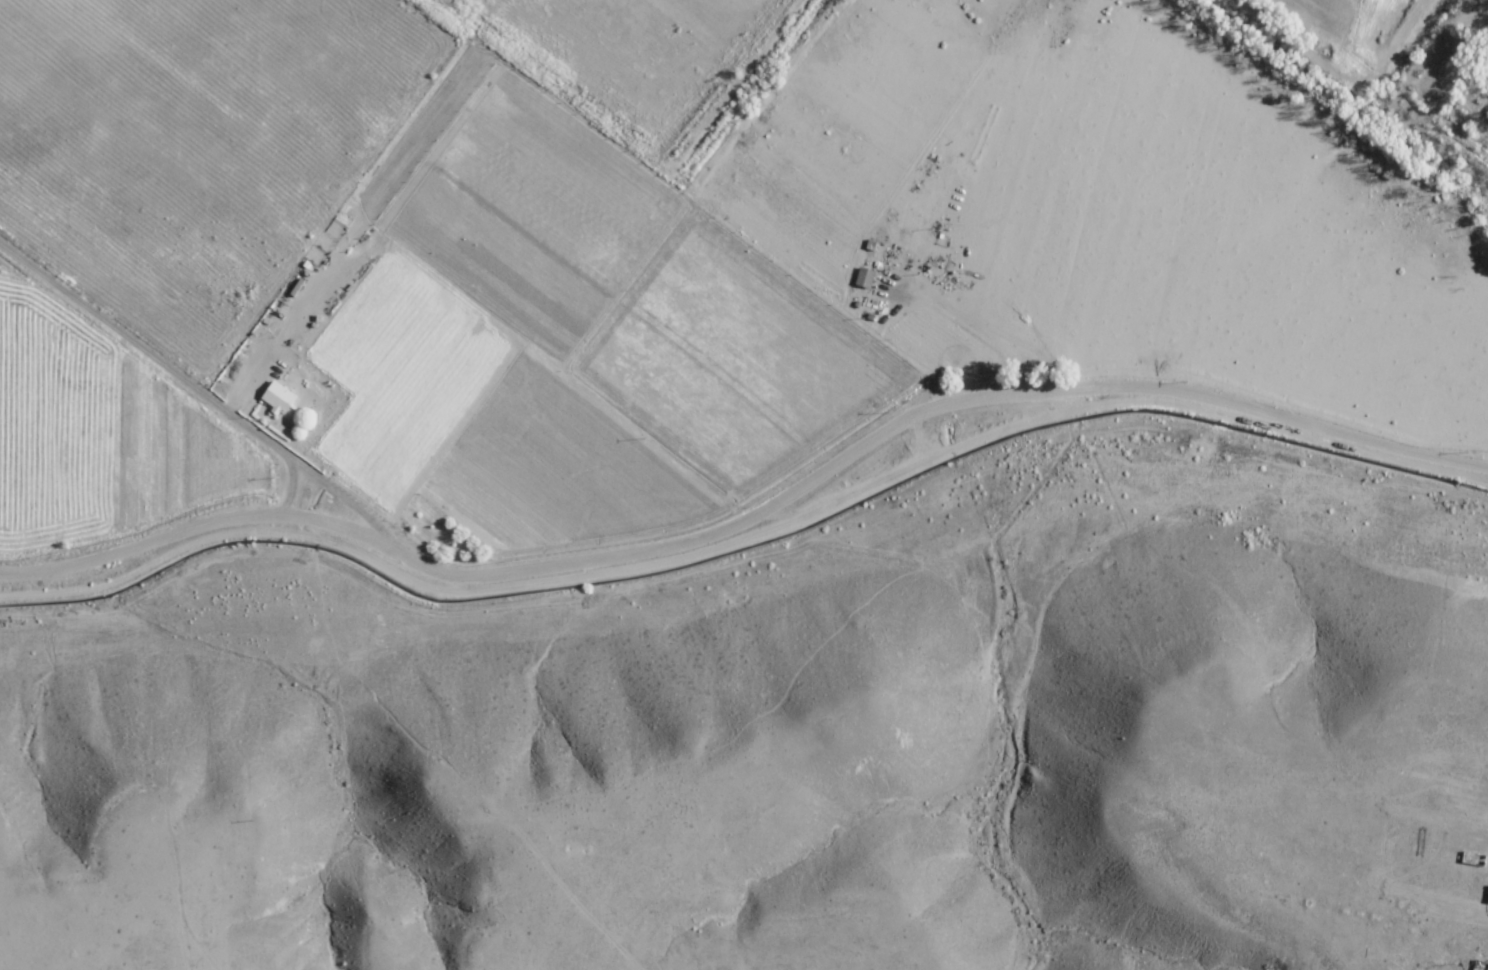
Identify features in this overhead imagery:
road: (728, 218)
building: (866, 278)
road: (168, 366)
building: (279, 397)
road: (349, 501)
road: (751, 517)
building: (1470, 858)
building: (1487, 901)
building: (1480, 965)

